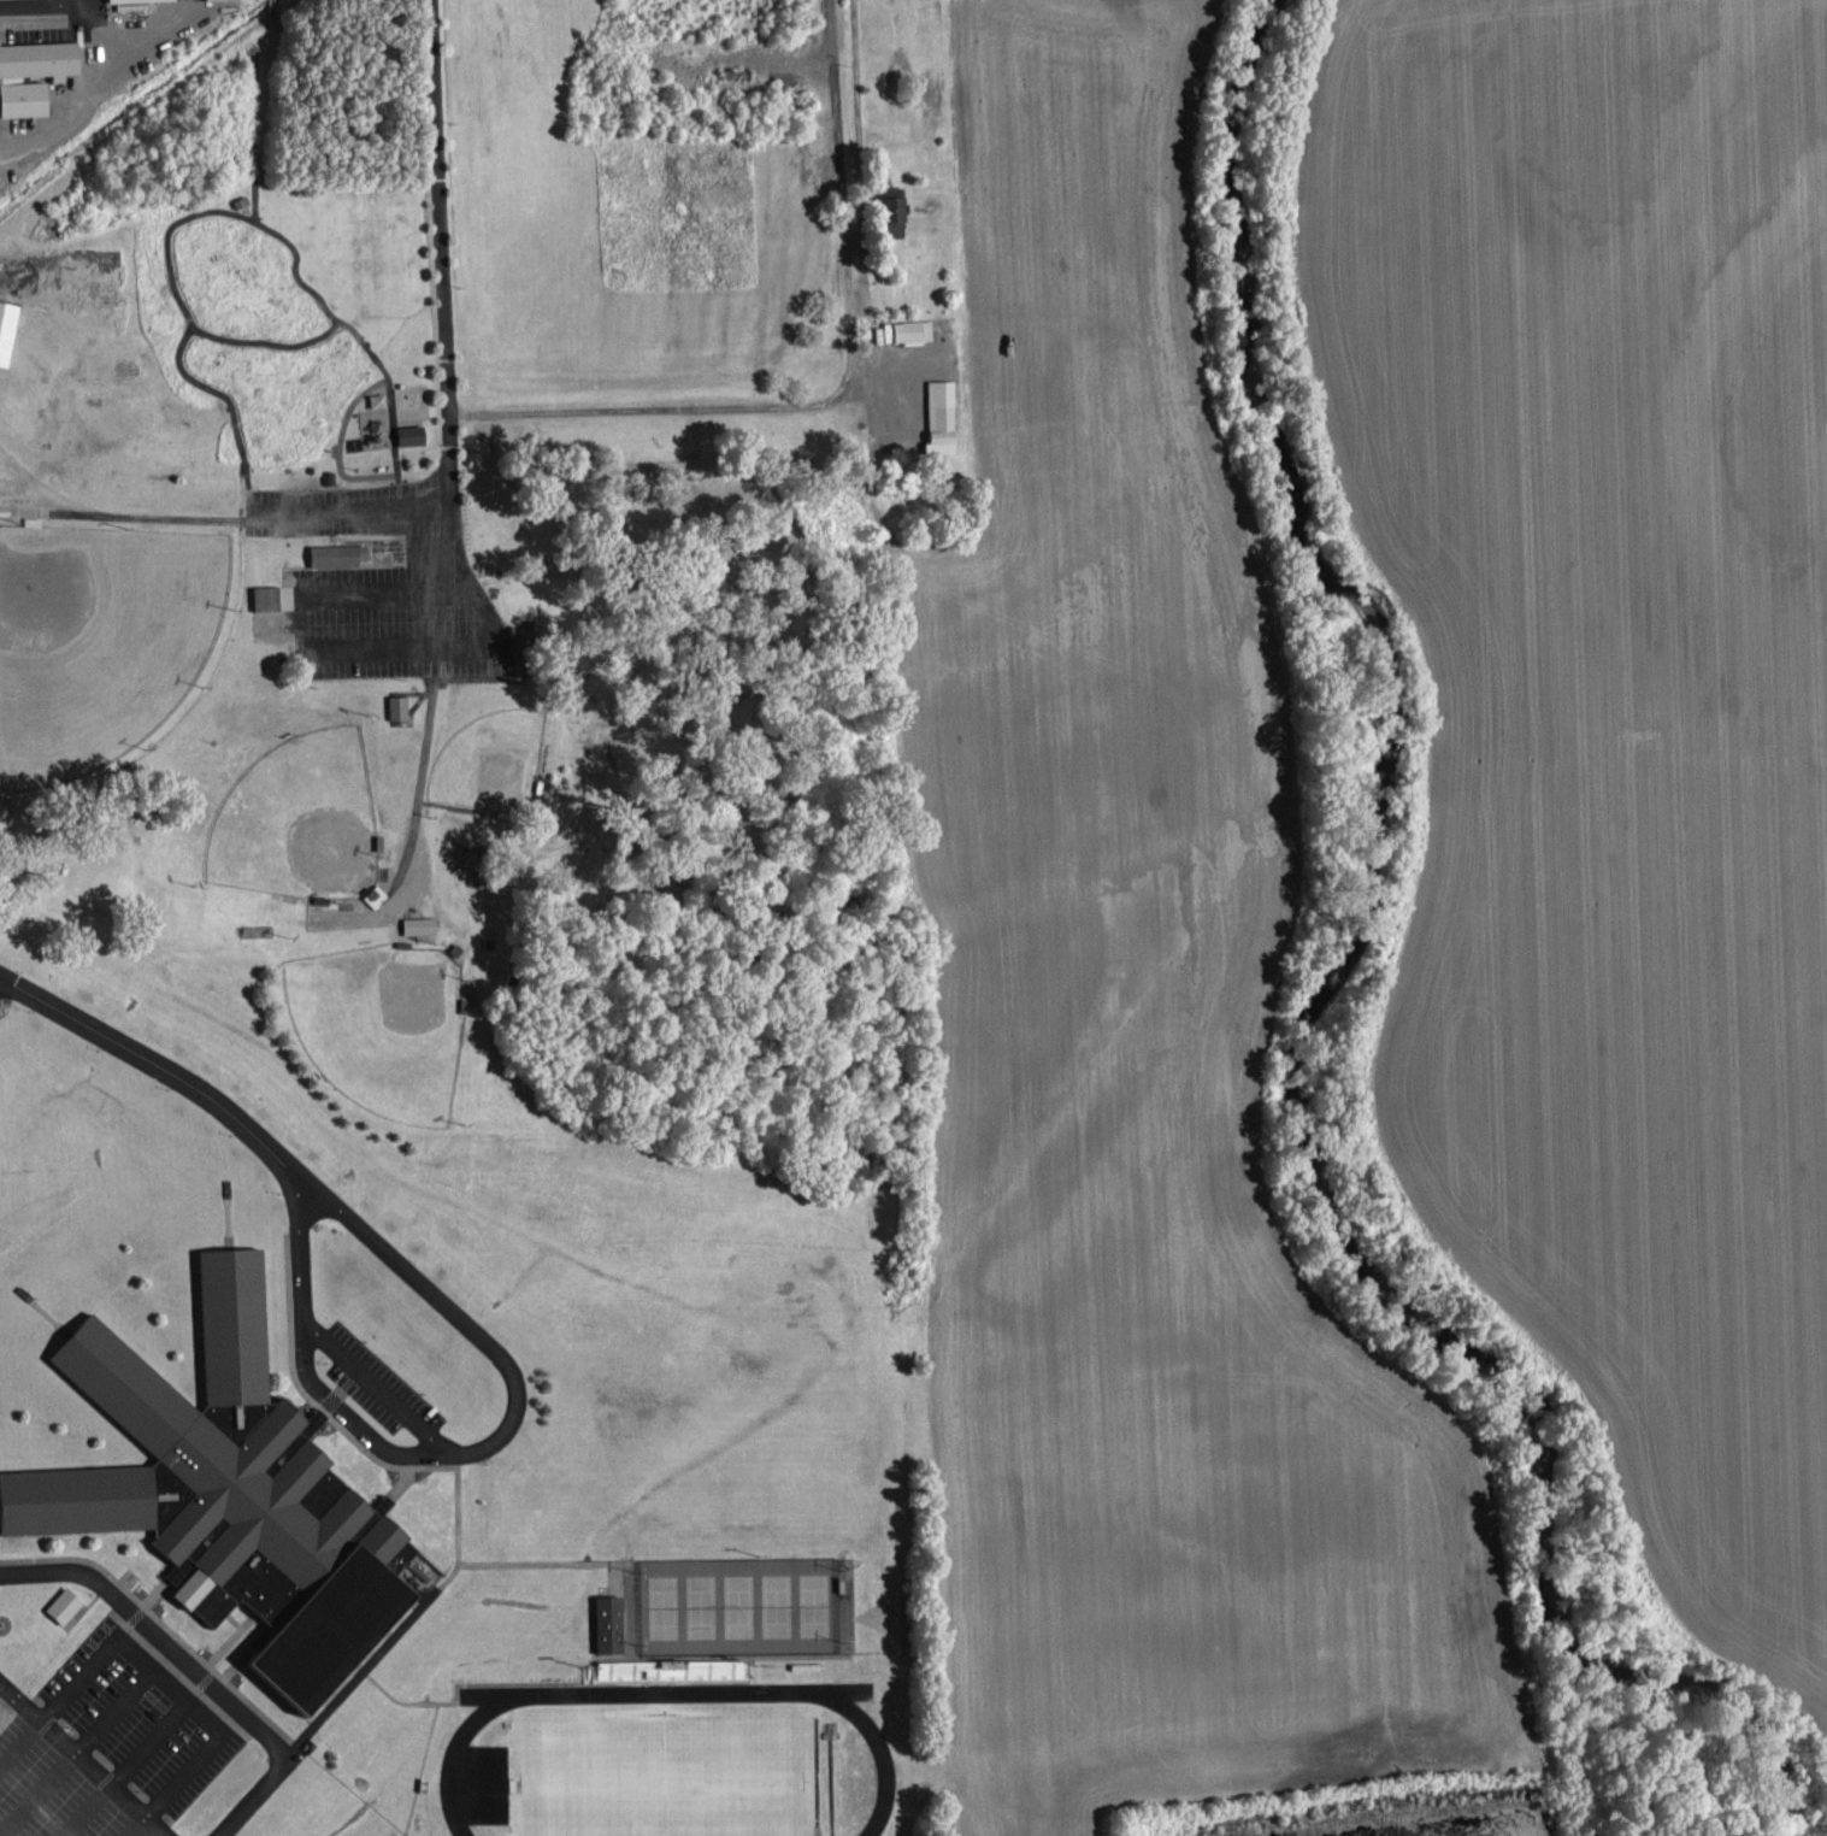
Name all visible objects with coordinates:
building: (108, 0)
building: (31, 71)
road: (441, 206)
building: (885, 211)
building: (907, 330)
road: (721, 406)
road: (517, 411)
building: (935, 414)
building: (377, 424)
building: (403, 434)
road: (455, 504)
road: (218, 519)
building: (331, 553)
building: (270, 596)
park: (99, 640)
building: (393, 706)
park: (491, 763)
park: (299, 819)
building: (413, 924)
park: (384, 1024)
road: (141, 1055)
road: (506, 1426)
building: (228, 1495)
building: (58, 1602)
park: (737, 1605)
building: (602, 1620)
road: (190, 1664)
road: (86, 1758)
track: (672, 1766)
park: (667, 1772)

